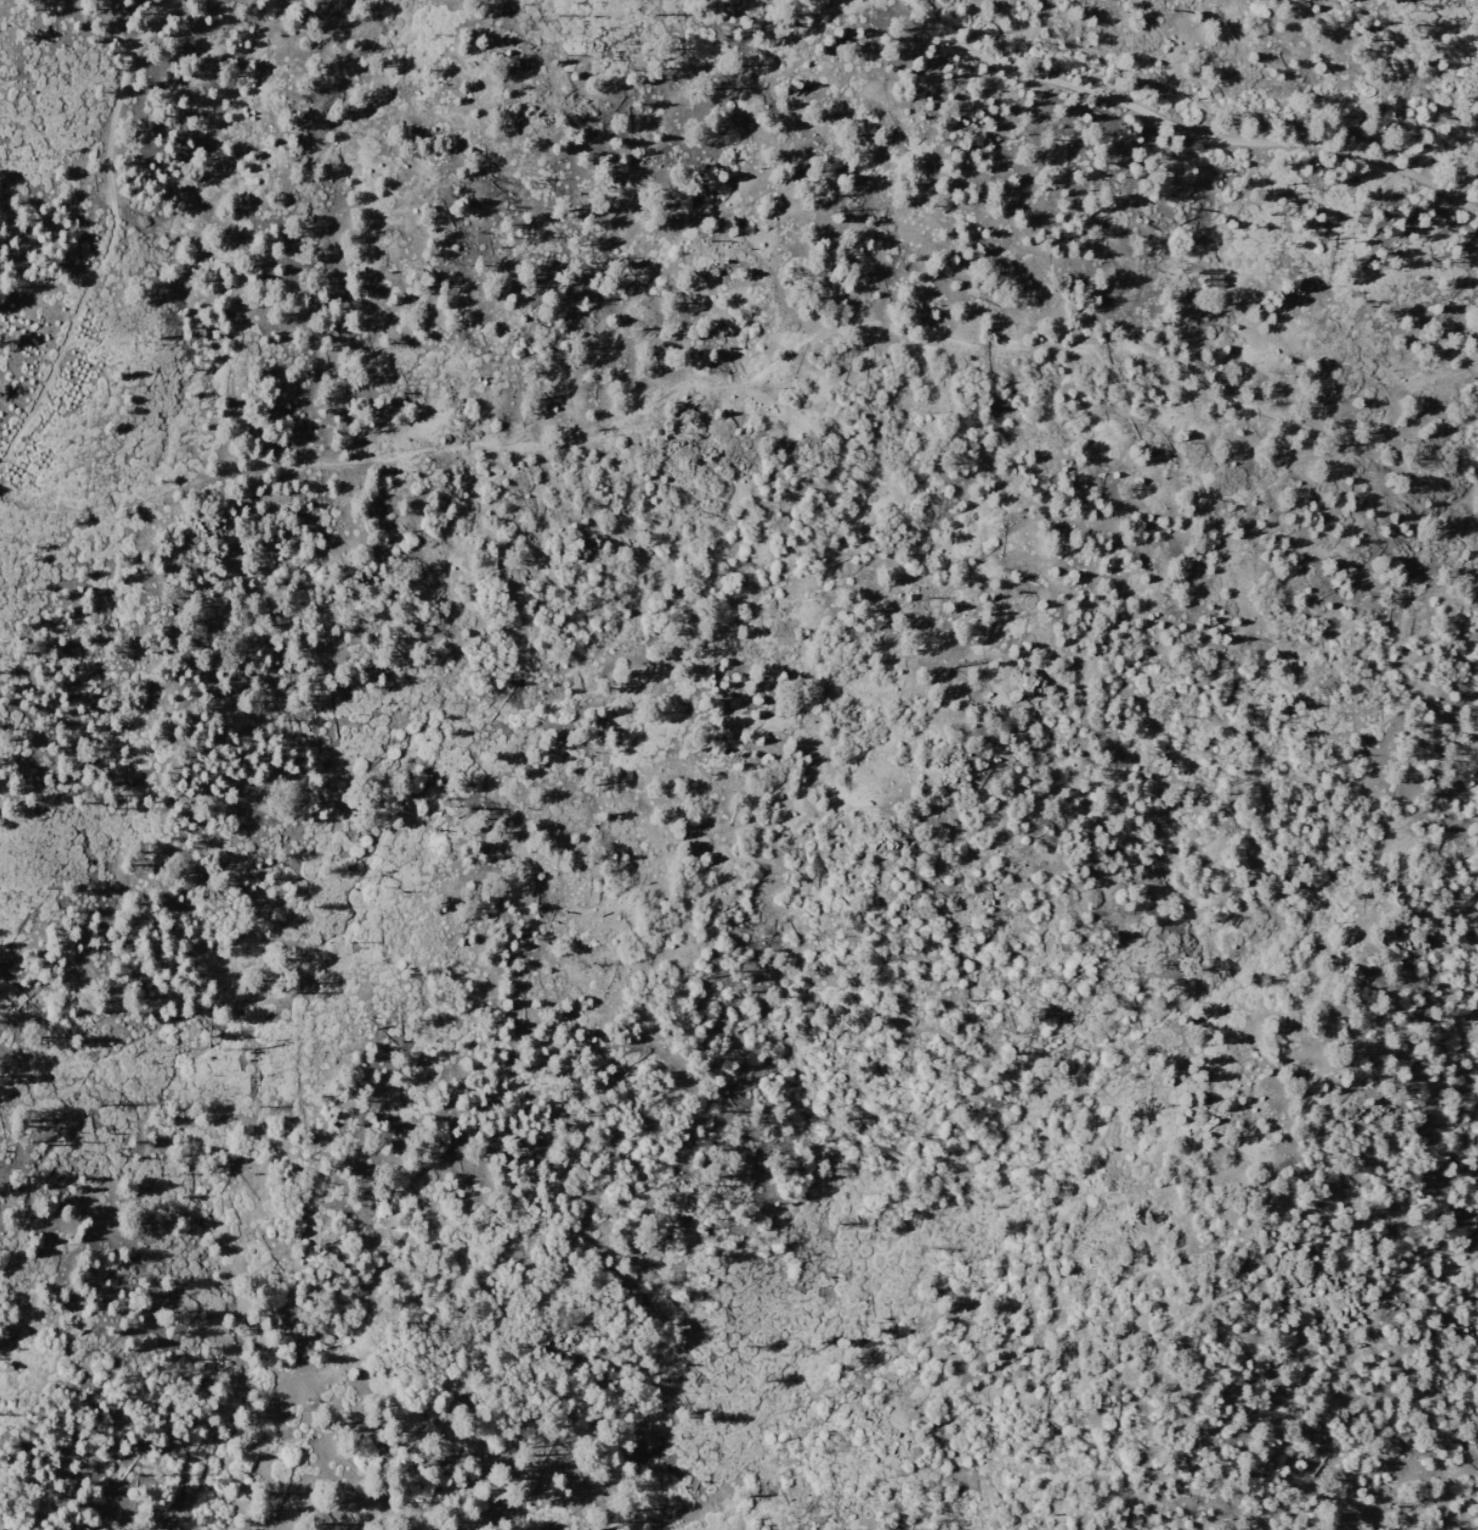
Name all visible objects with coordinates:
road: (115, 112)
road: (1183, 128)
road: (60, 349)
road: (150, 1032)

